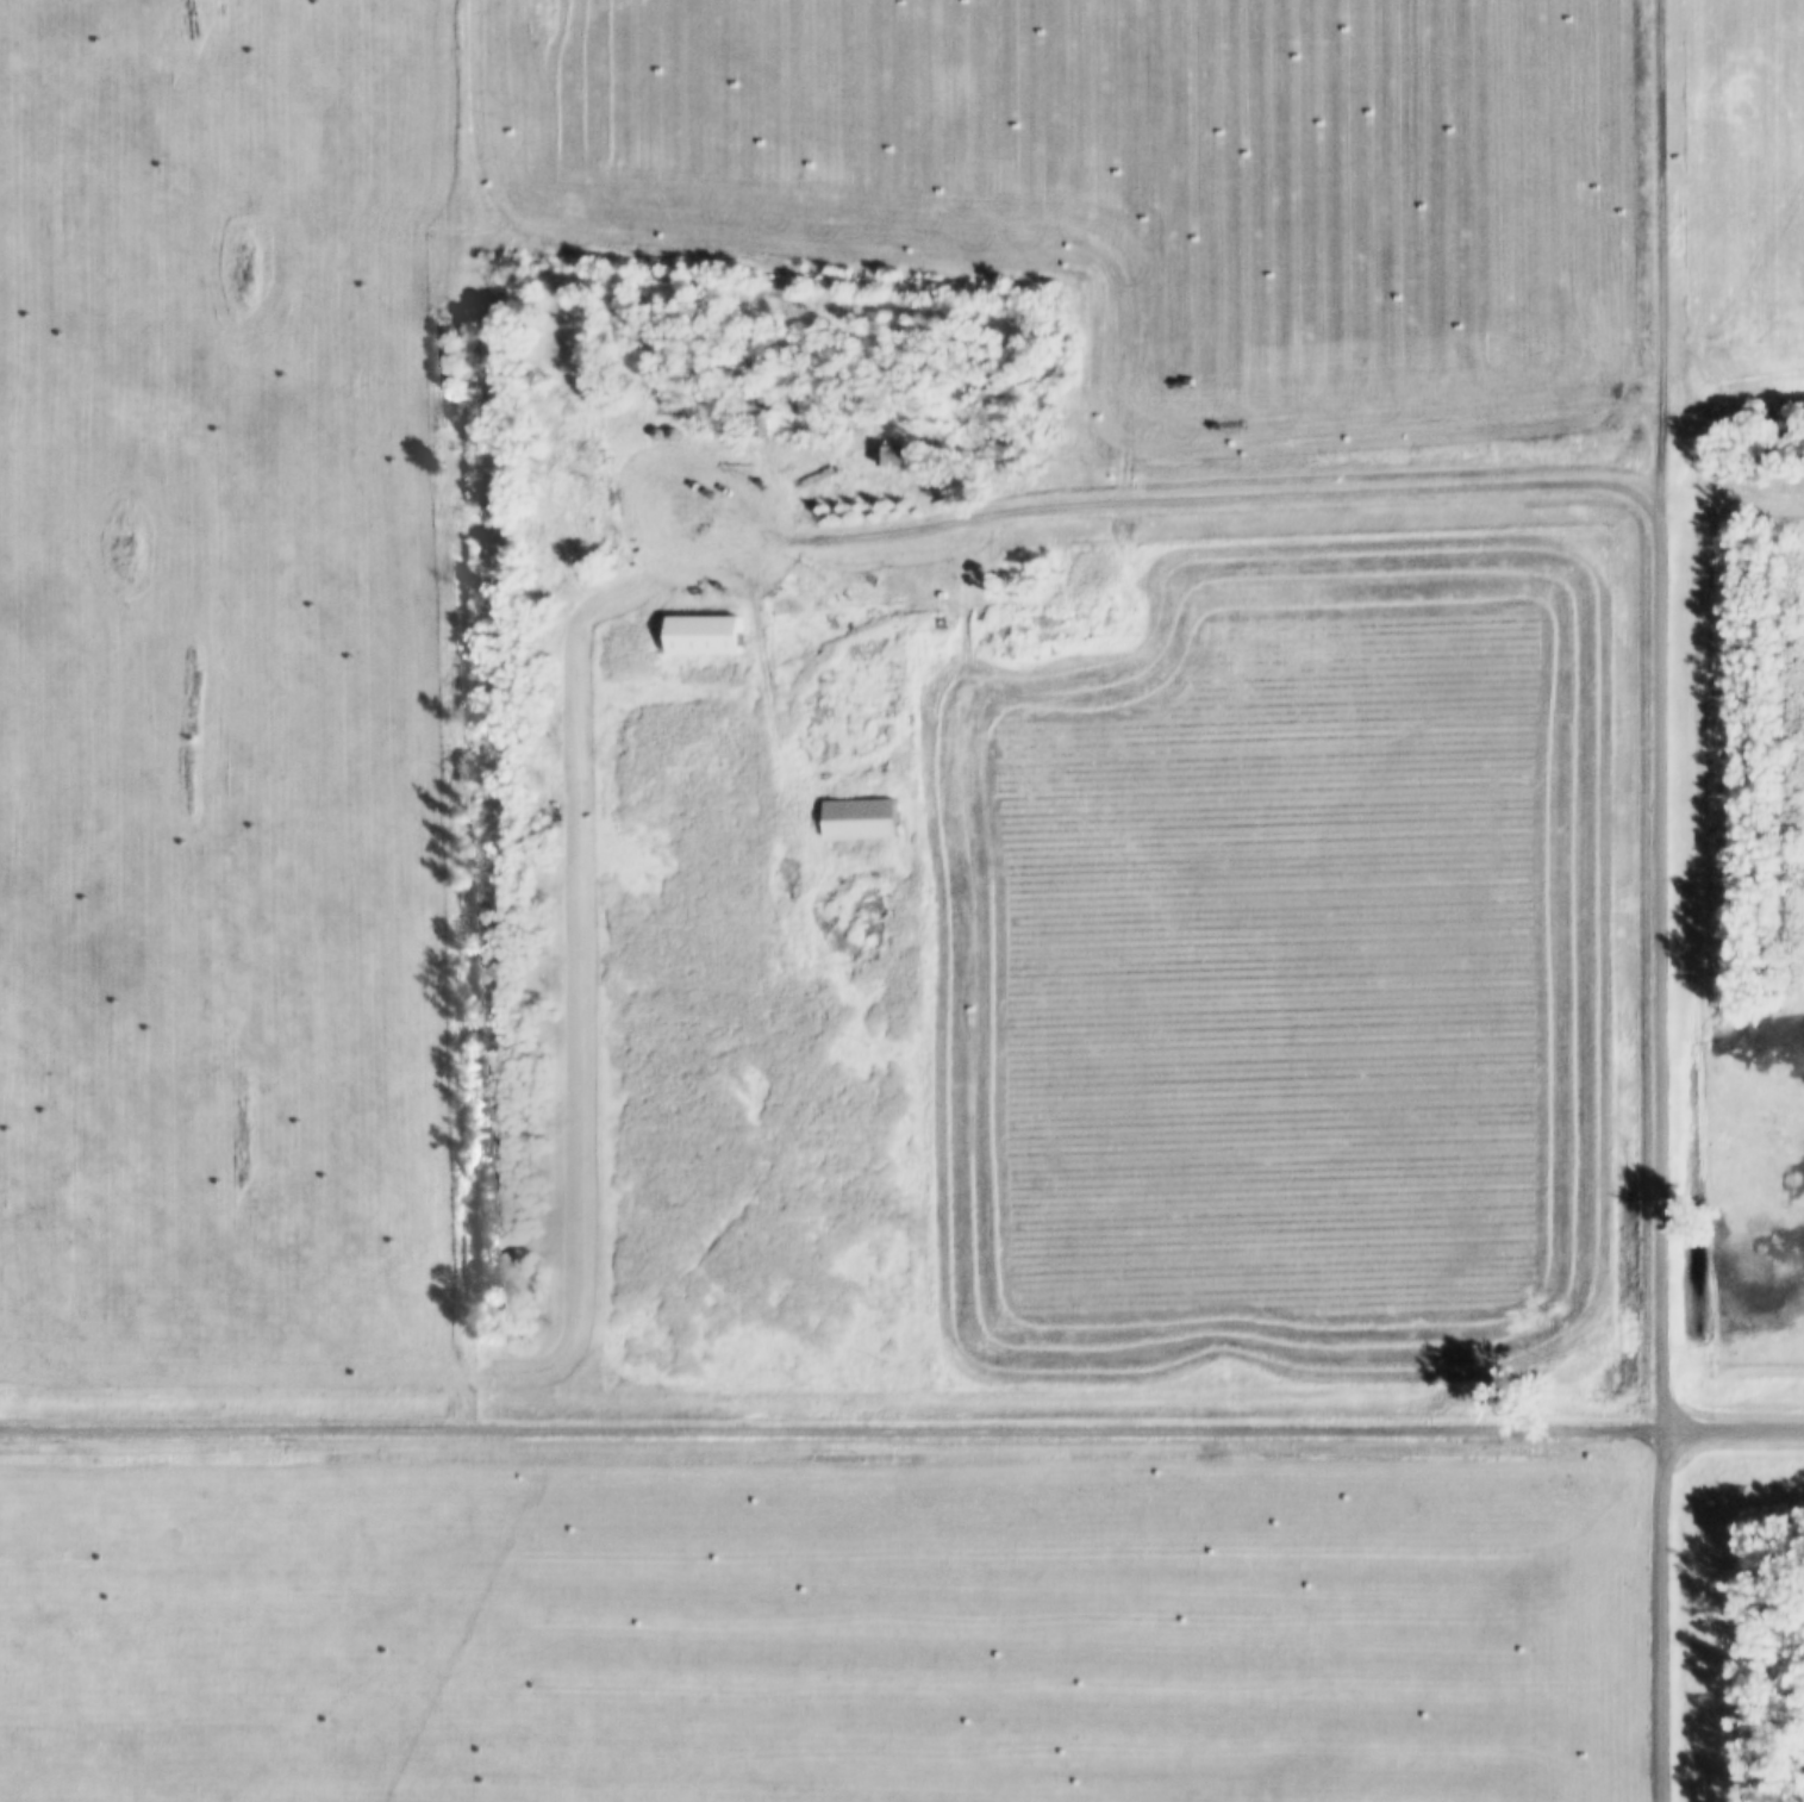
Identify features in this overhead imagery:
building: (100, 64)
road: (1659, 257)
building: (893, 455)
road: (1224, 492)
building: (705, 634)
building: (861, 818)
road: (1660, 969)
building: (127, 1033)
road: (830, 1422)
road: (1733, 1424)
road: (1663, 1613)

